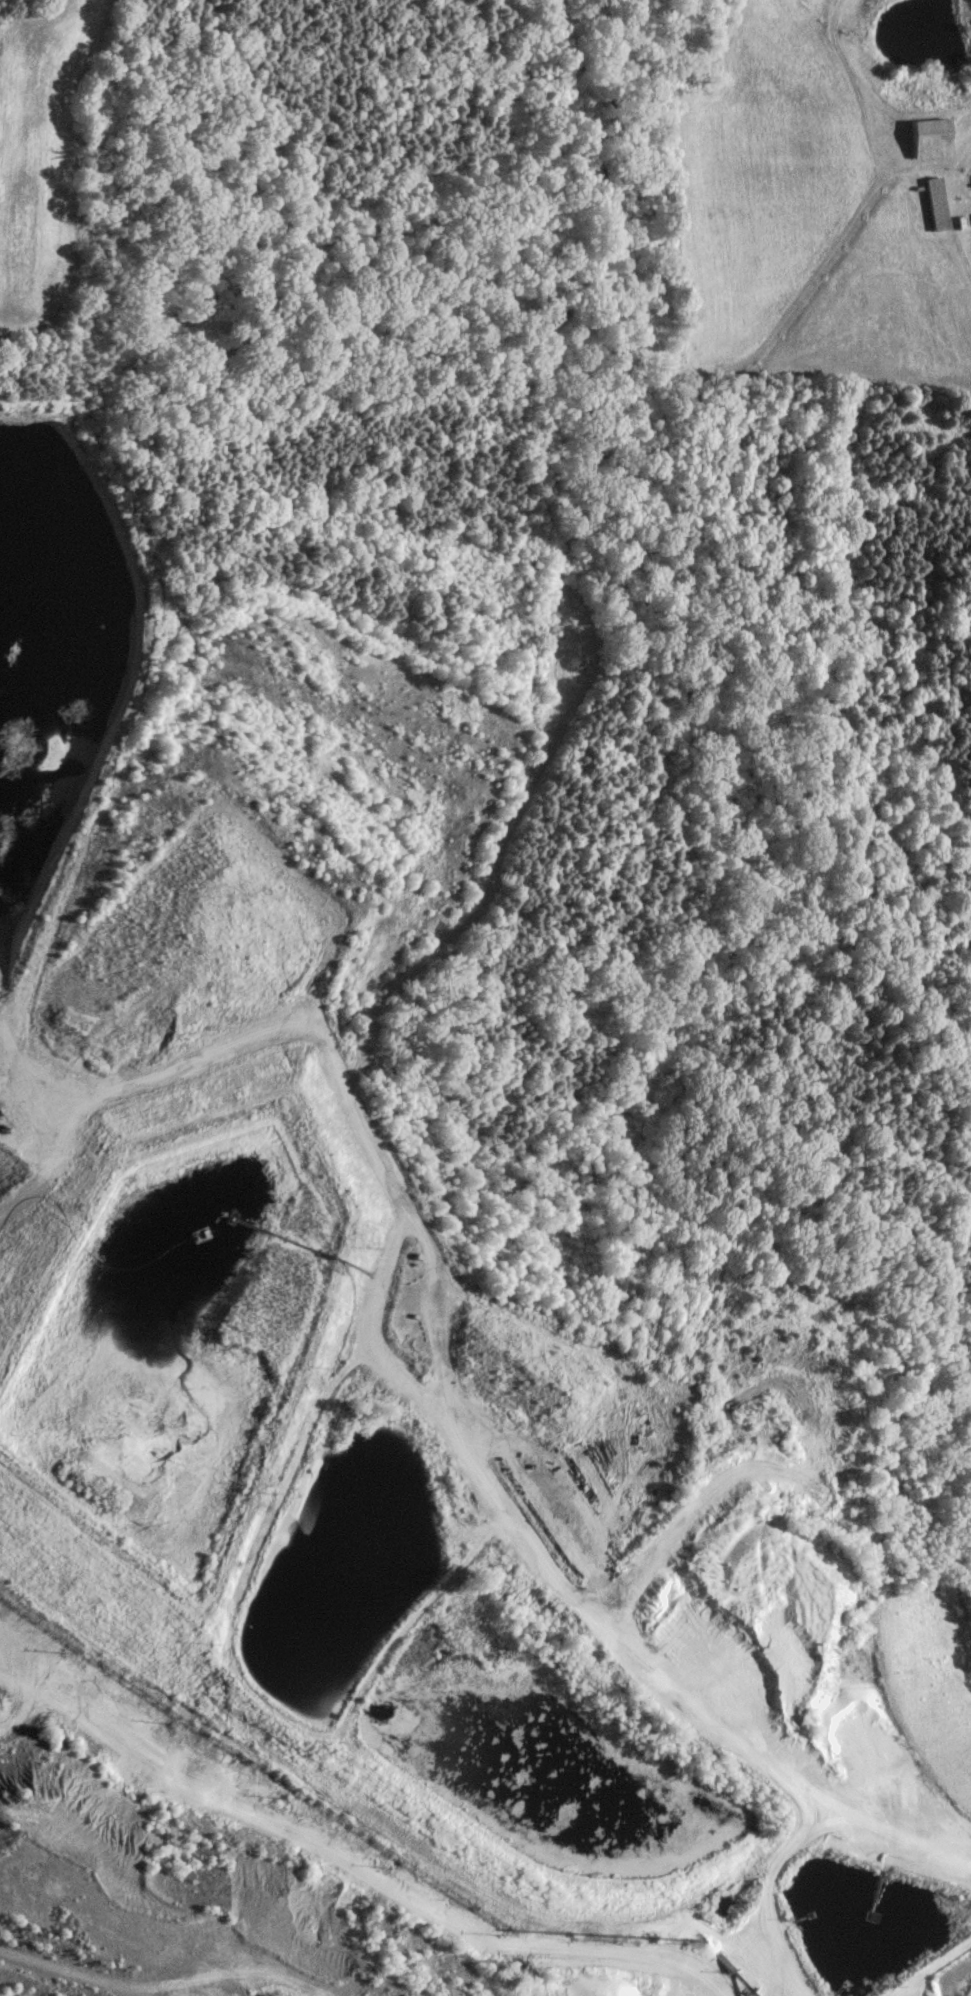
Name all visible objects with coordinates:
building: (935, 203)
road: (954, 221)

